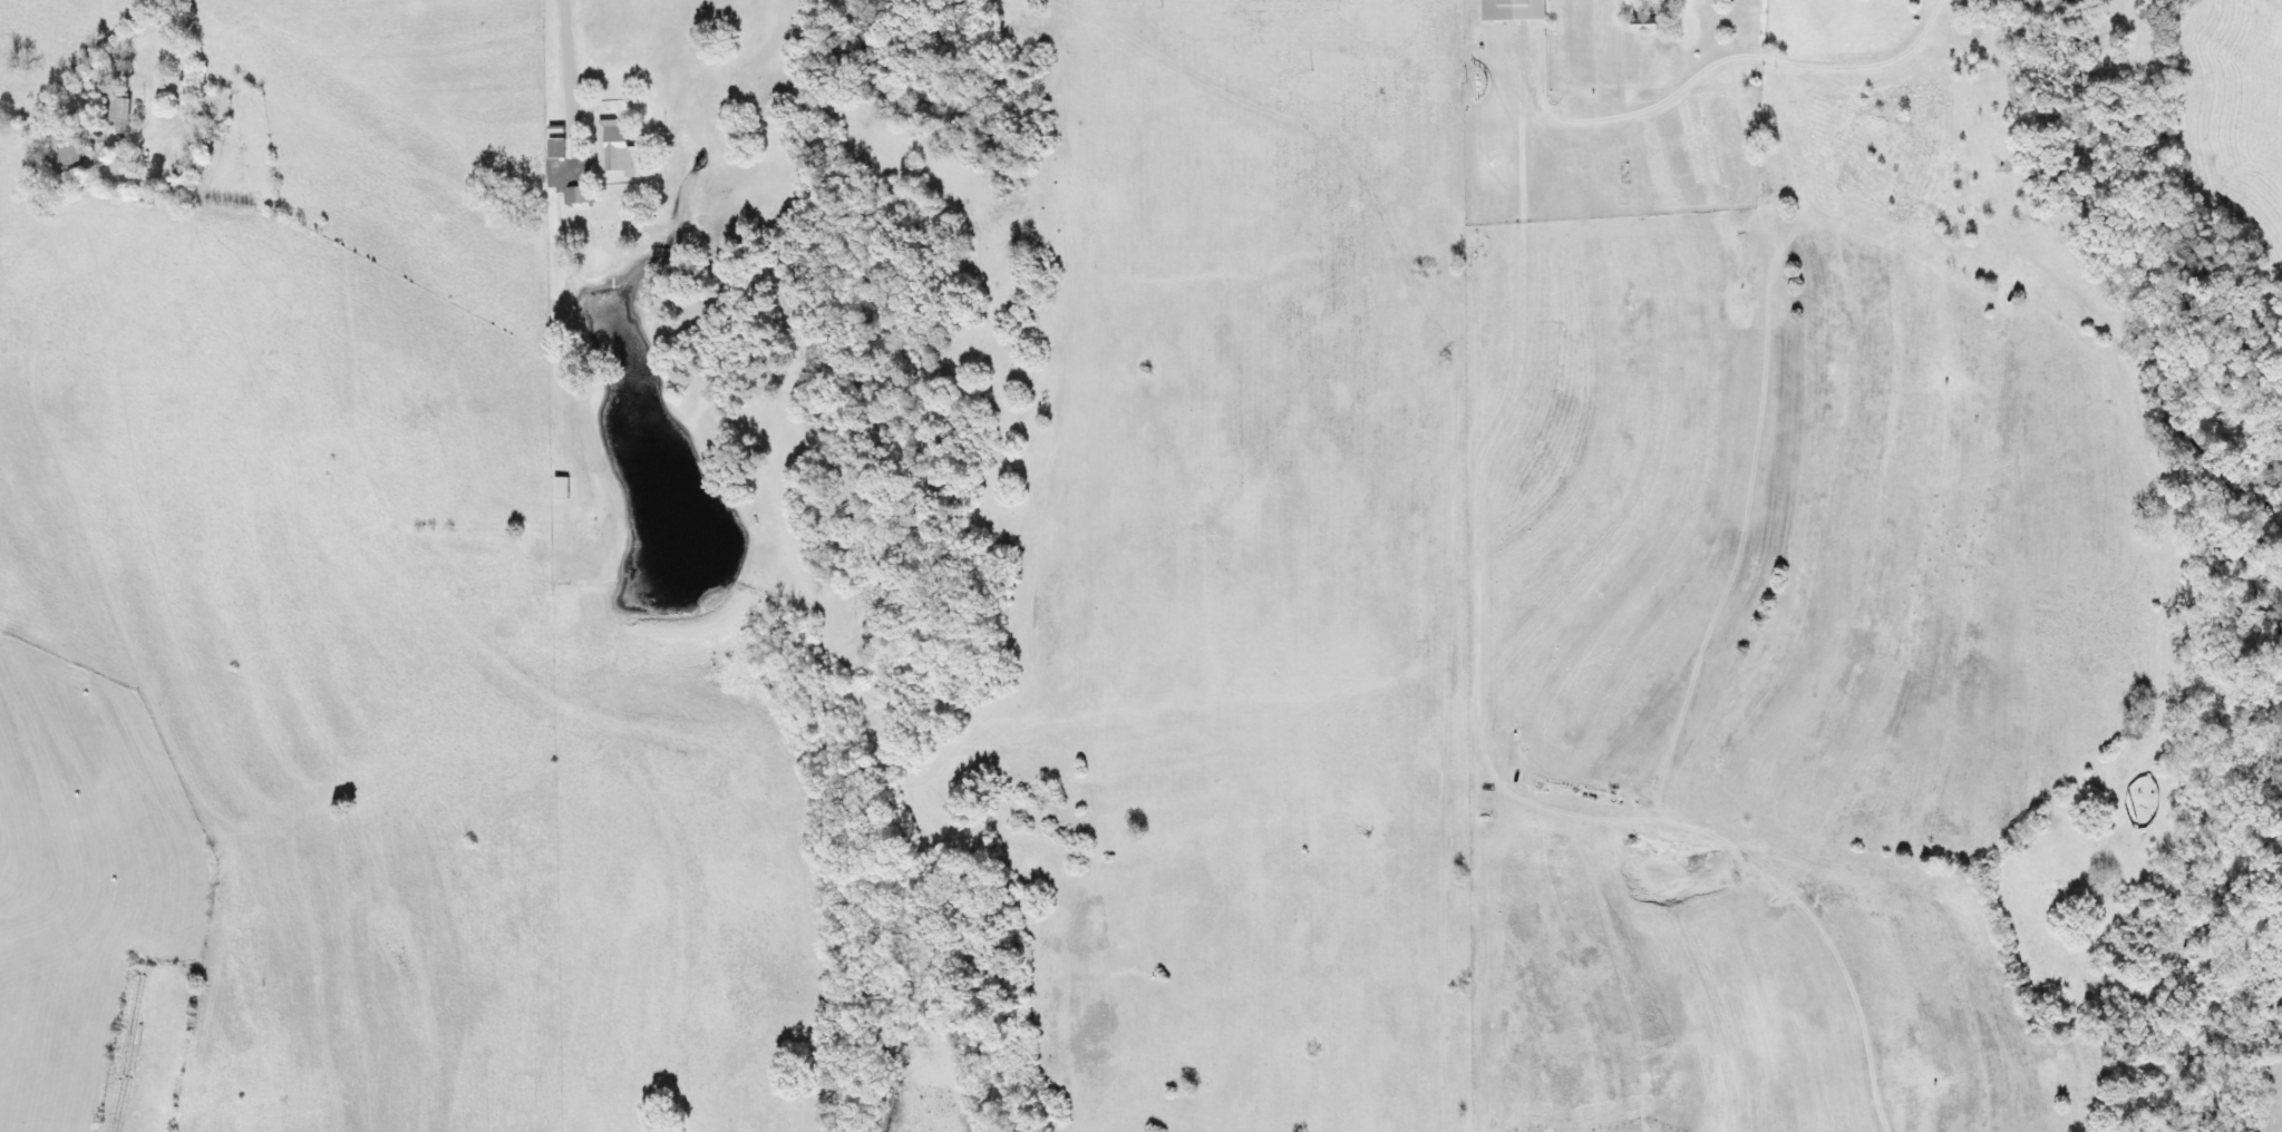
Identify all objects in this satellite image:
building: (1746, 1)
road: (2273, 6)
building: (1521, 10)
building: (1653, 20)
road: (569, 95)
road: (155, 98)
building: (125, 114)
building: (560, 148)
building: (621, 150)
building: (76, 153)
building: (585, 195)
building: (566, 488)

